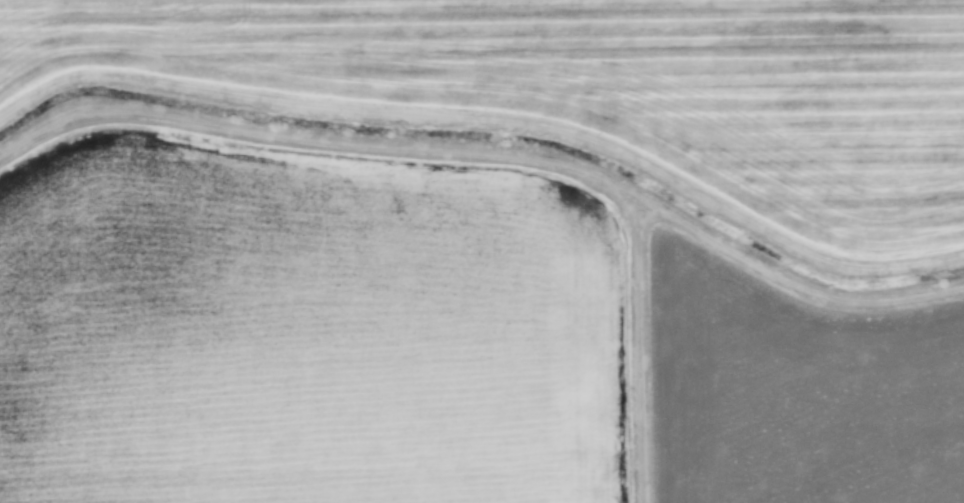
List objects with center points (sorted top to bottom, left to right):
crop: (482, 251)

